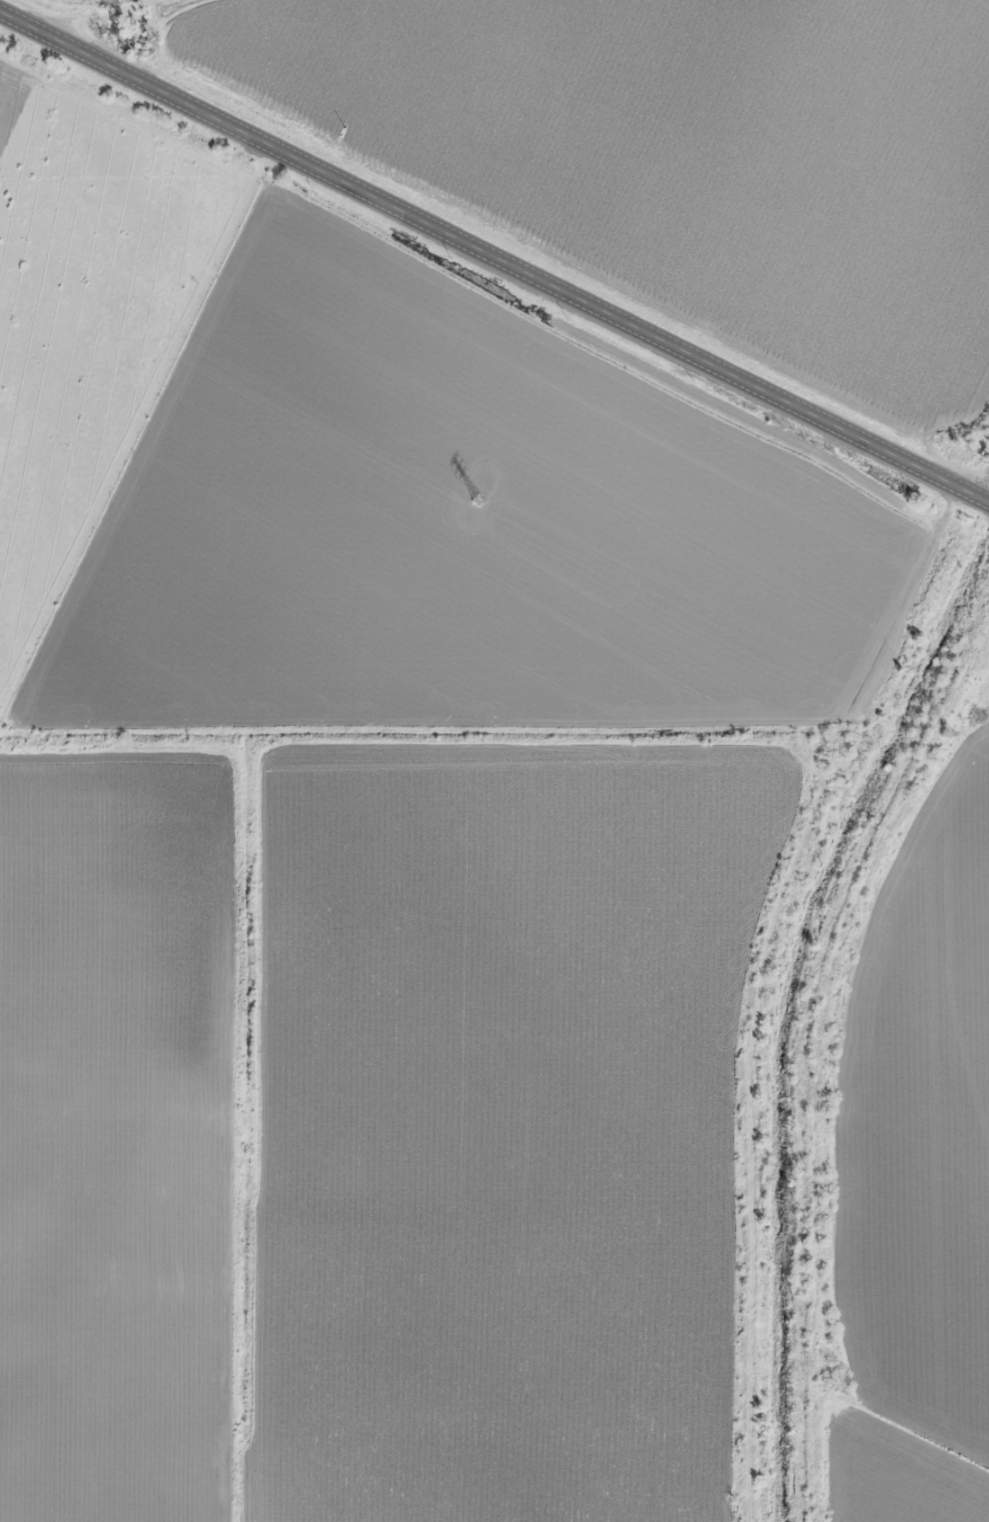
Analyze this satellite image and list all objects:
road: (494, 251)
power tower: (482, 501)
power tower: (952, 735)

